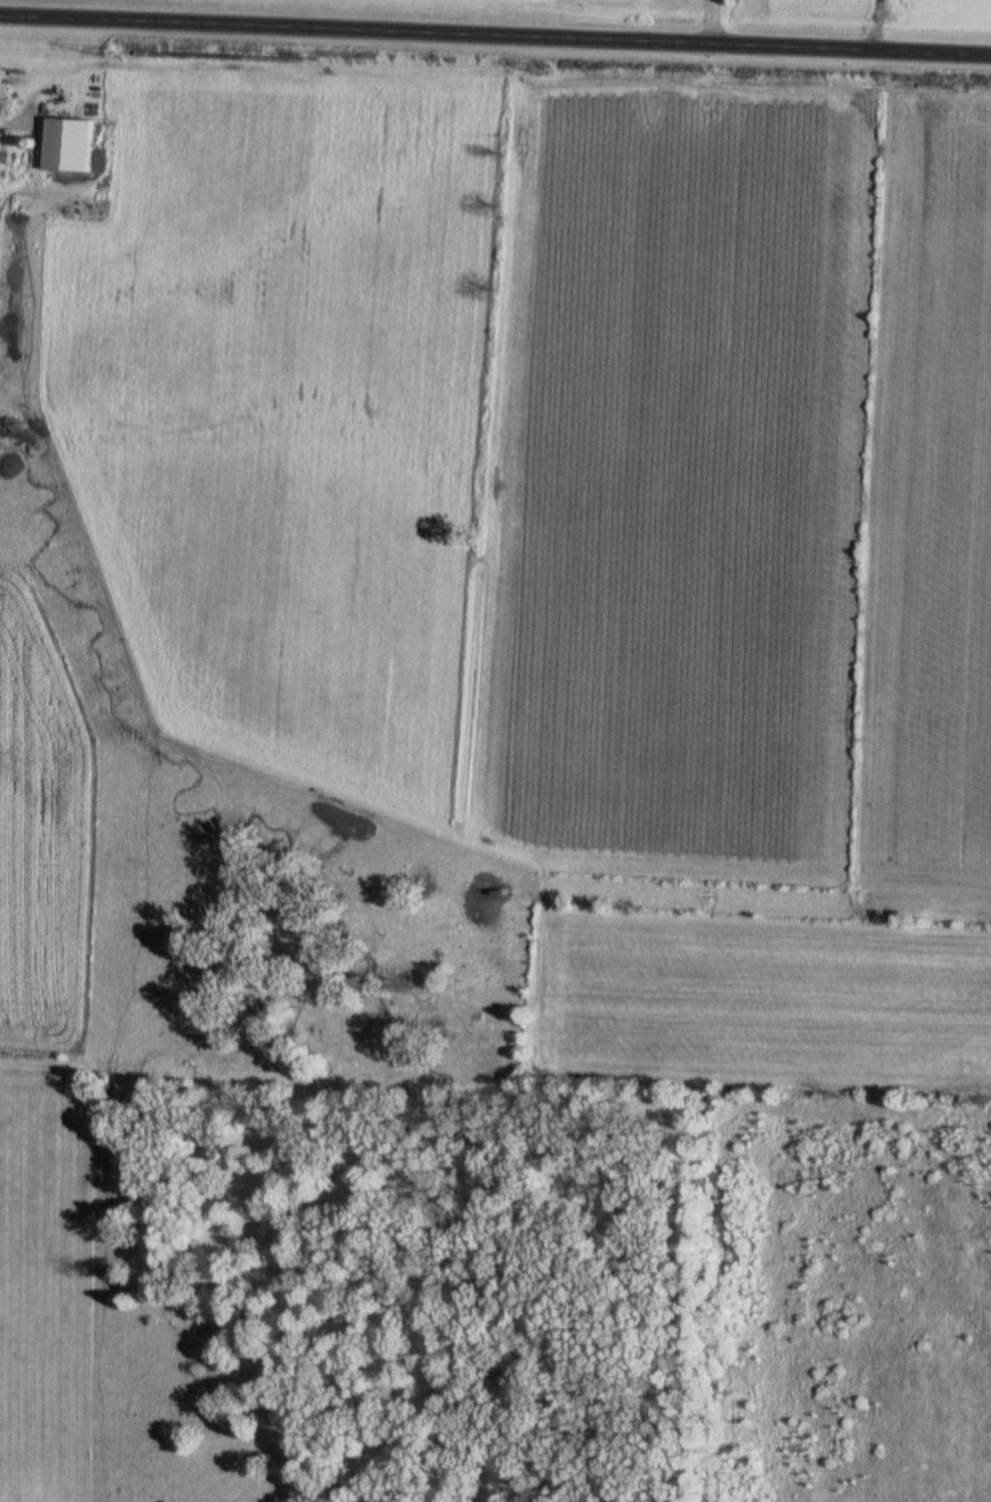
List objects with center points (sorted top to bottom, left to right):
road: (495, 35)
power tower: (96, 51)
power tower: (534, 69)
power tower: (957, 88)
building: (65, 146)

